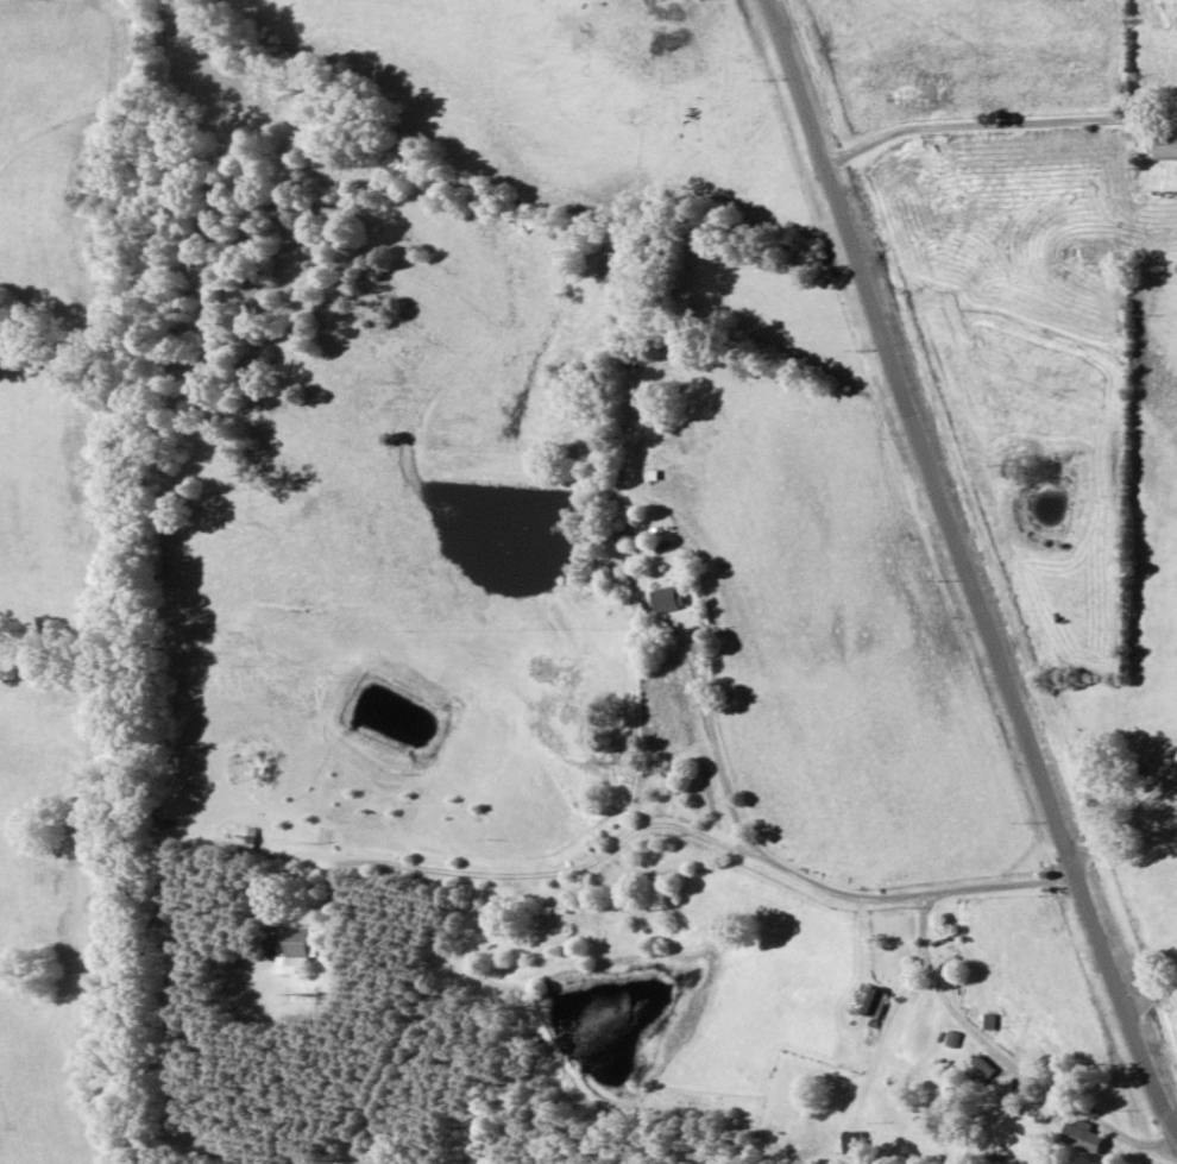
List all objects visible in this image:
road: (1002, 125)
building: (1163, 149)
road: (987, 514)
building: (662, 599)
road: (812, 883)
building: (295, 939)
building: (866, 1002)
building: (988, 1021)
building: (980, 1068)
building: (1081, 1135)

